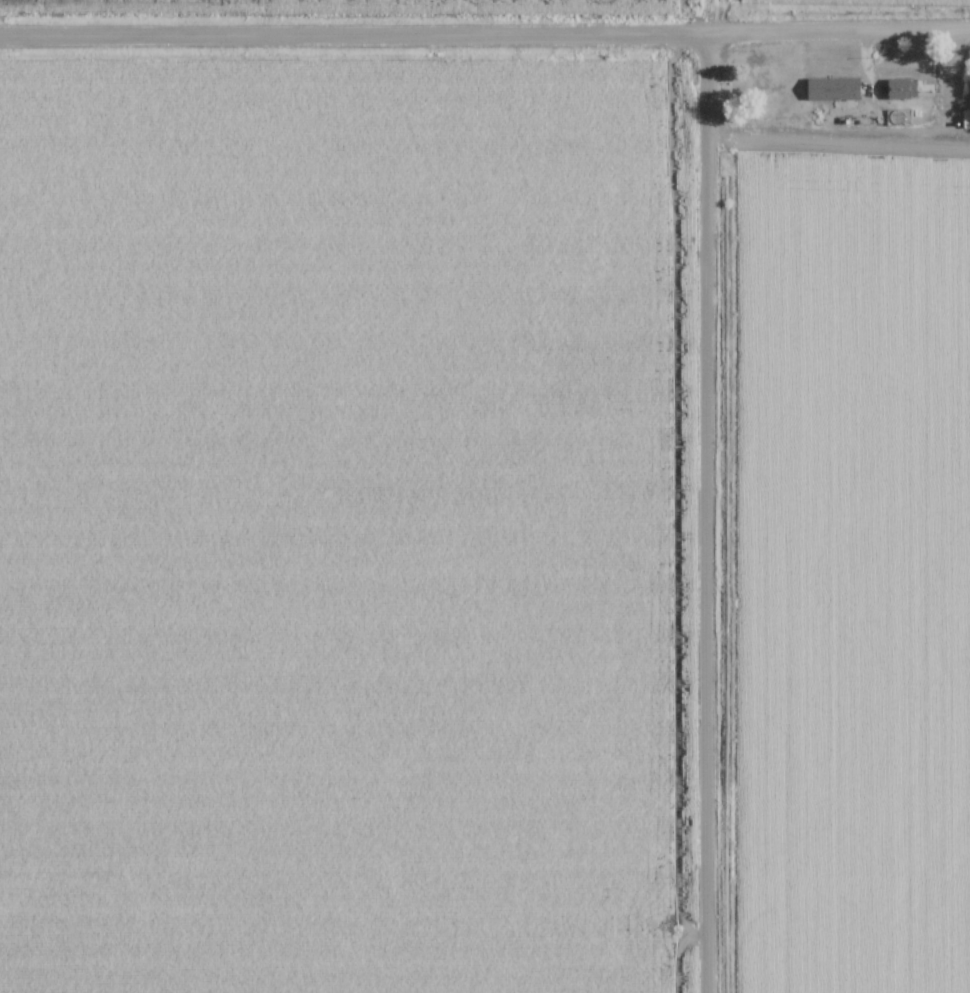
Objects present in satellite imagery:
crop: (493, 1)
crop: (849, 2)
road: (485, 34)
building: (833, 87)
building: (900, 88)
building: (965, 119)
road: (872, 131)
road: (708, 513)
crop: (339, 527)
crop: (853, 572)

